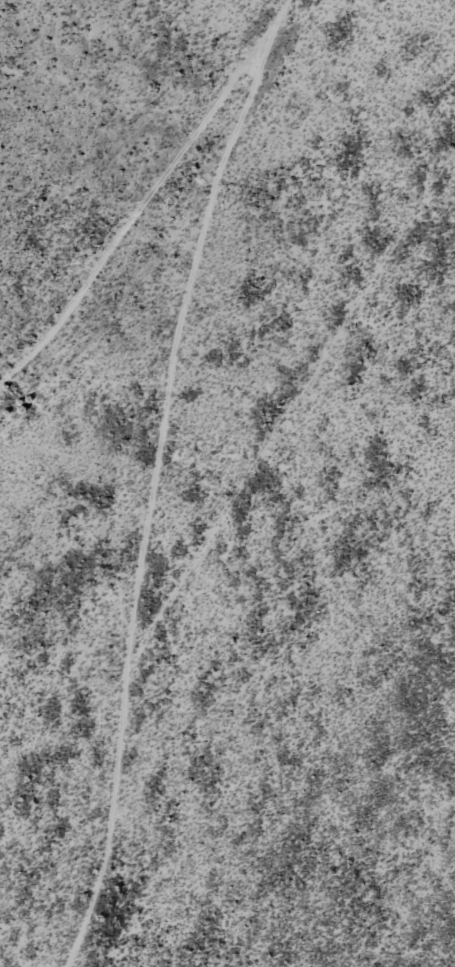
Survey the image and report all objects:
road: (173, 210)
road: (182, 562)

